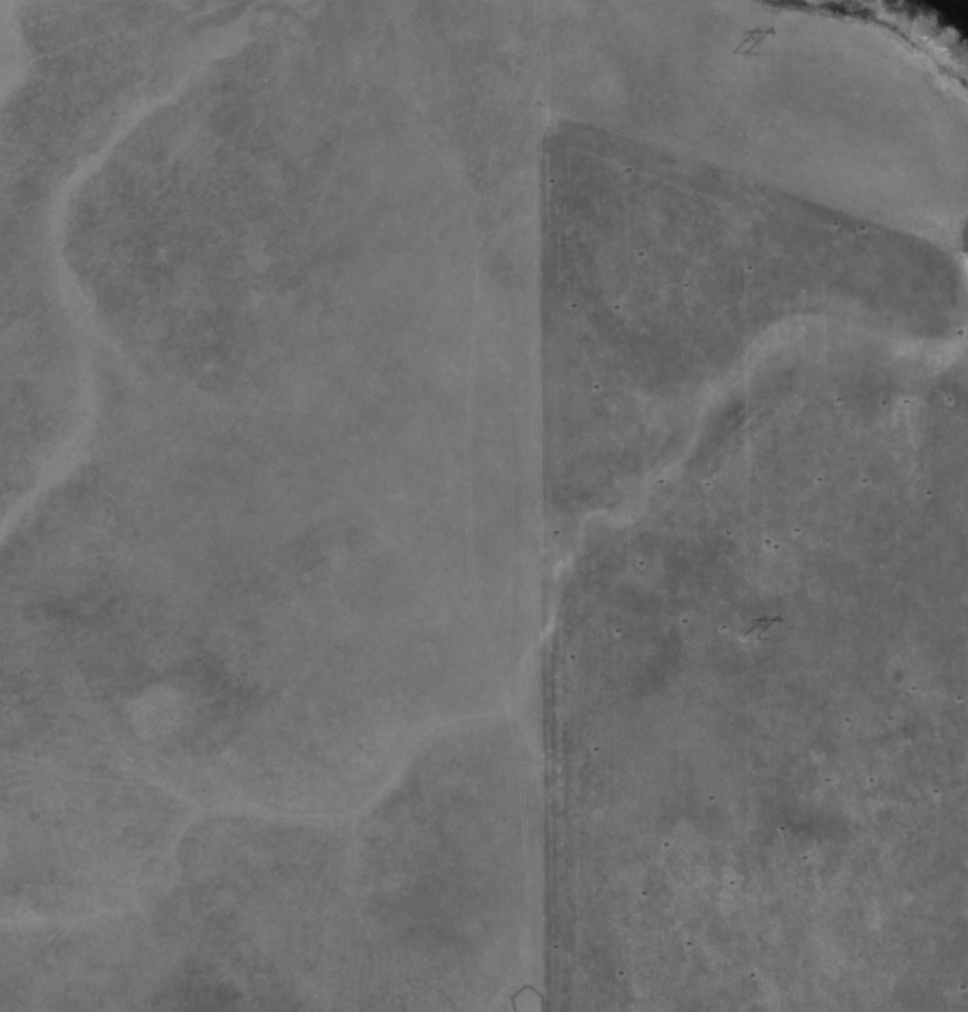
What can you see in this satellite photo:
power tower: (729, 56)
power tower: (743, 637)

